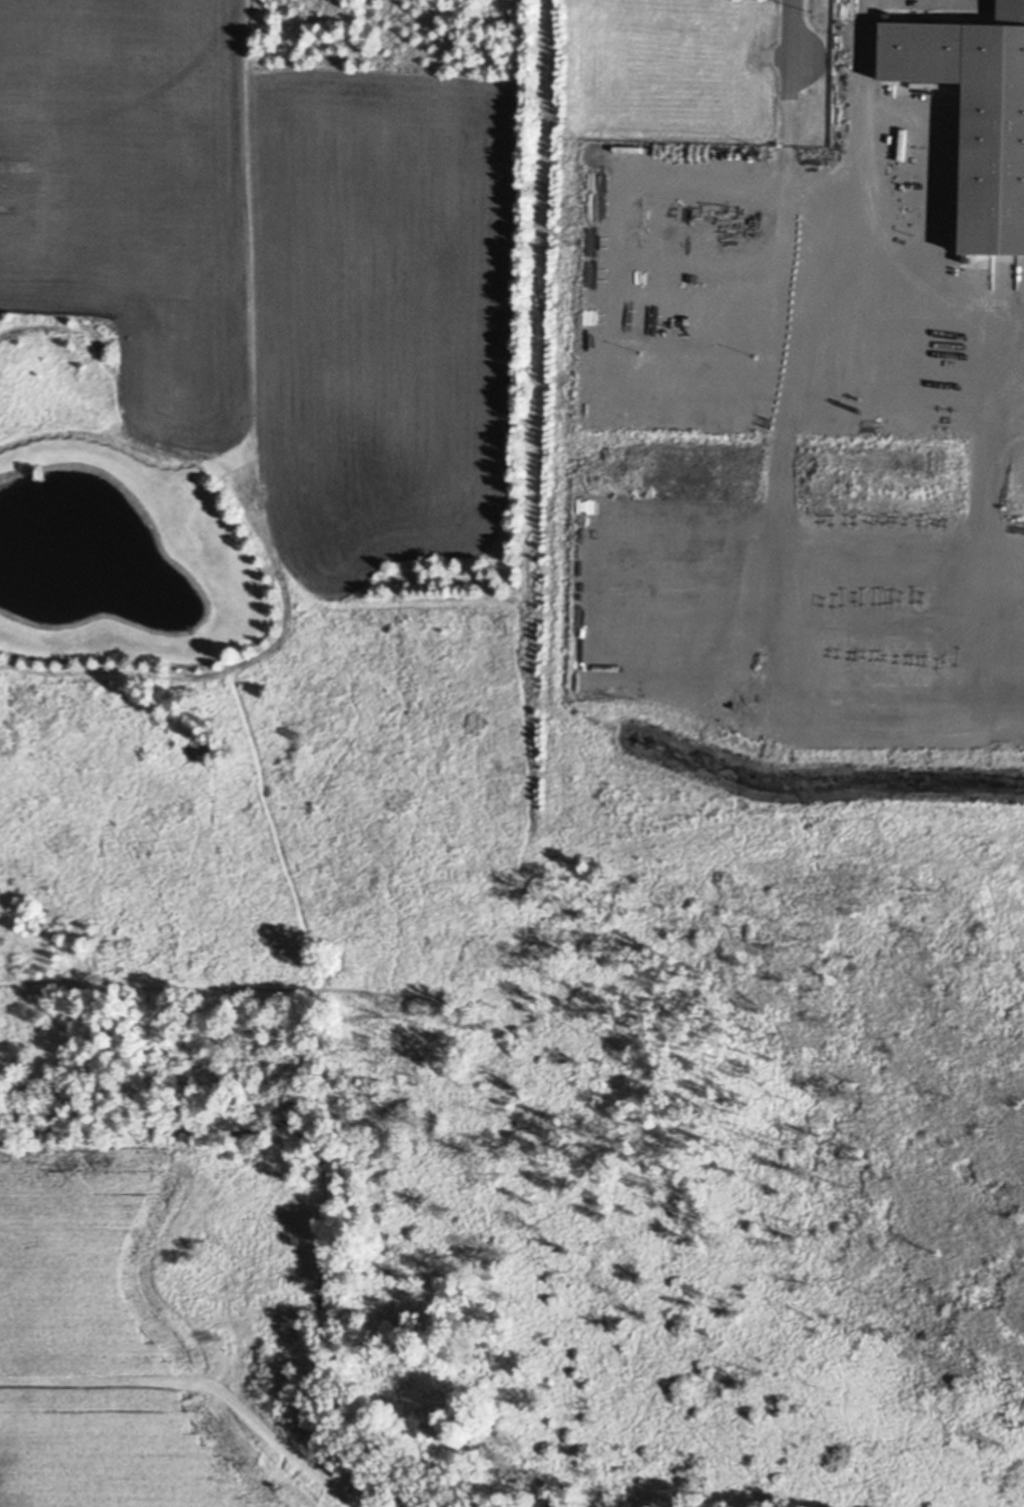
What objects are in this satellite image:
building: (1010, 12)
road: (784, 29)
building: (1013, 368)
crop: (792, 525)
crop: (119, 1340)

